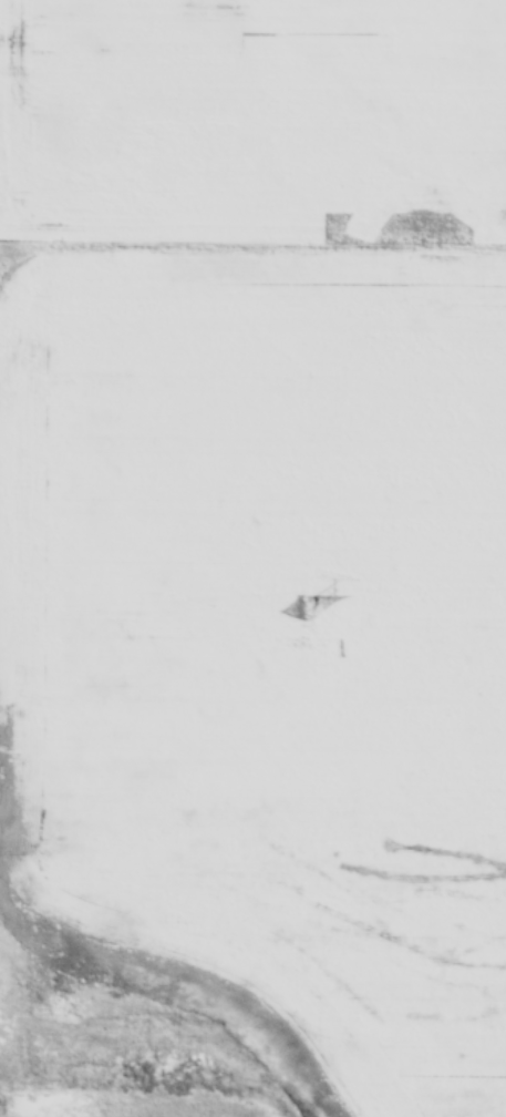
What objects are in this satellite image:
power tower: (308, 607)

